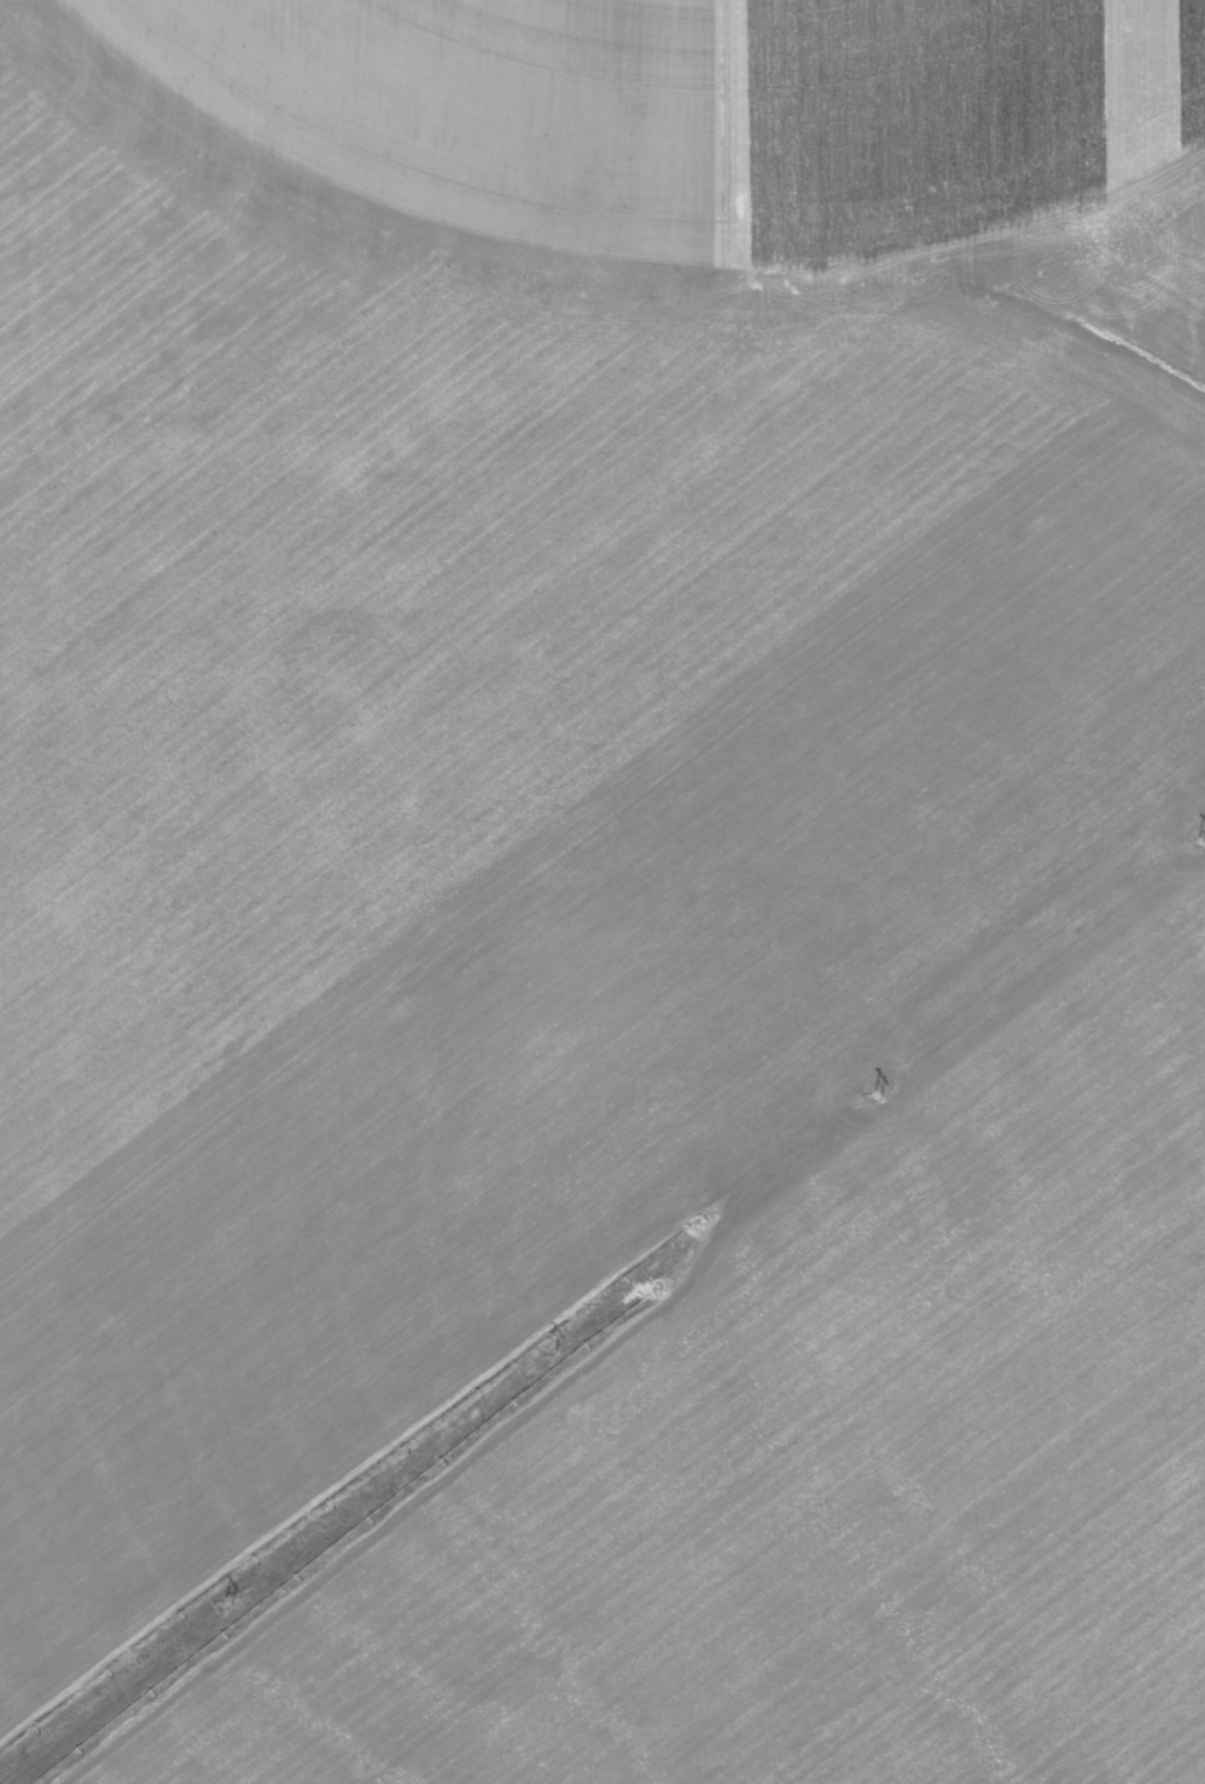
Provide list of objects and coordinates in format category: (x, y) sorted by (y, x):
power tower: (1200, 841)
power tower: (874, 1093)
power tower: (552, 1347)
power tower: (228, 1600)

